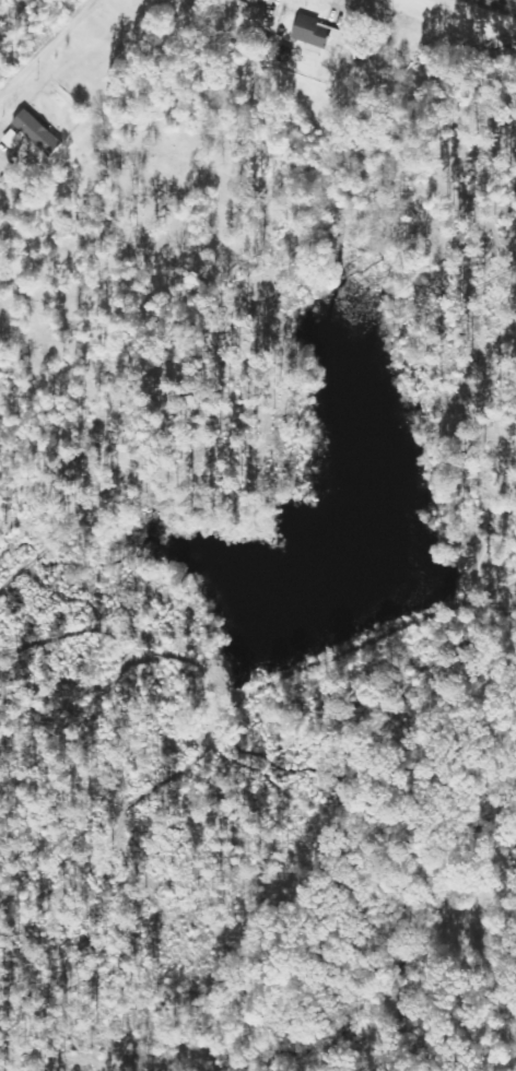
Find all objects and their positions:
road: (505, 2)
building: (310, 32)
road: (44, 45)
building: (30, 134)

